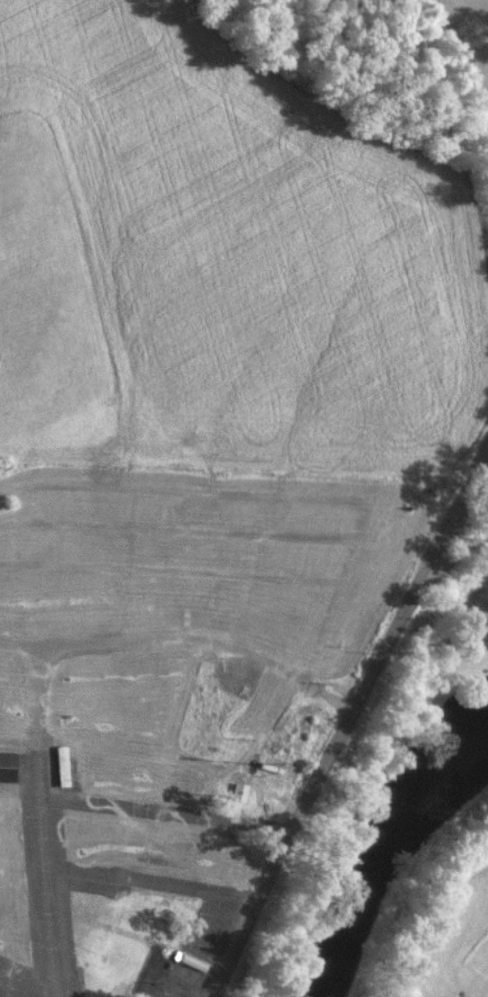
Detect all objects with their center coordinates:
road: (469, 11)
road: (466, 63)
road: (459, 549)
road: (39, 664)
road: (343, 731)
building: (6, 765)
building: (62, 765)
building: (239, 791)
road: (169, 811)
river: (381, 861)
road: (154, 878)

